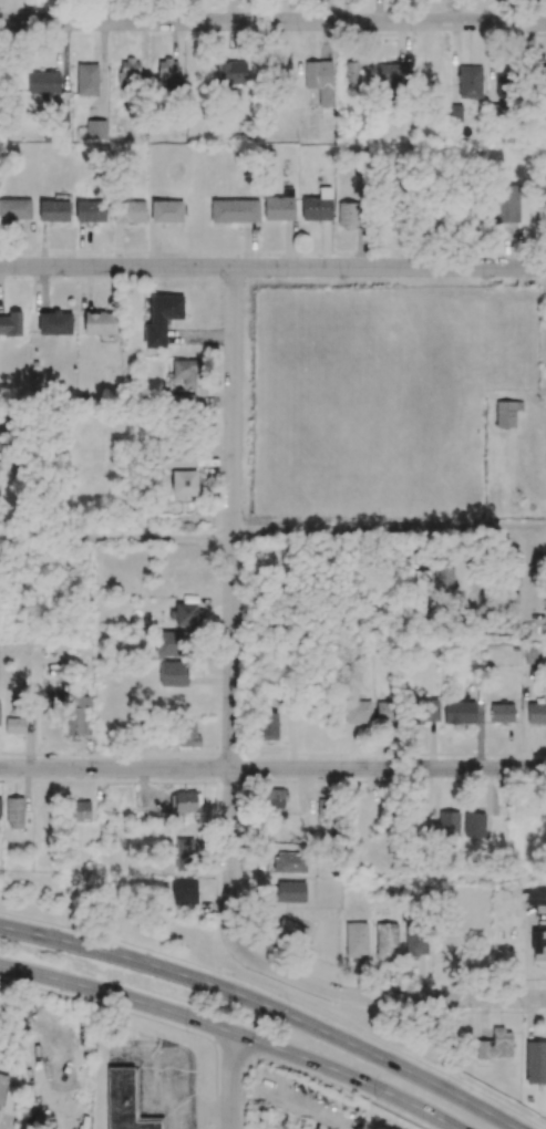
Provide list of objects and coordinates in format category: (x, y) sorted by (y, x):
road: (272, 22)
building: (128, 71)
building: (230, 72)
building: (167, 74)
building: (390, 76)
building: (86, 79)
building: (352, 80)
building: (540, 80)
building: (470, 81)
building: (43, 82)
building: (503, 82)
building: (316, 83)
building: (455, 113)
building: (95, 130)
building: (505, 203)
building: (279, 206)
building: (317, 206)
building: (14, 209)
building: (53, 210)
building: (234, 210)
building: (90, 211)
building: (128, 211)
building: (166, 211)
building: (347, 215)
road: (272, 267)
building: (161, 319)
building: (53, 322)
building: (99, 323)
building: (11, 324)
building: (184, 373)
building: (506, 413)
building: (0, 441)
building: (175, 459)
building: (185, 484)
road: (272, 538)
building: (443, 573)
building: (420, 583)
road: (230, 607)
building: (185, 614)
building: (169, 643)
building: (173, 673)
building: (427, 709)
building: (459, 712)
building: (357, 713)
building: (385, 713)
building: (502, 713)
building: (536, 713)
building: (76, 714)
building: (13, 725)
building: (266, 726)
building: (187, 735)
road: (272, 768)
building: (272, 798)
building: (183, 801)
building: (0, 808)
building: (78, 811)
building: (14, 812)
building: (447, 824)
building: (473, 825)
building: (185, 853)
building: (290, 862)
building: (184, 891)
building: (288, 891)
building: (535, 894)
building: (290, 932)
building: (356, 939)
building: (387, 939)
building: (415, 941)
building: (538, 942)
road: (280, 995)
road: (384, 997)
road: (266, 1006)
road: (117, 1011)
road: (234, 1035)
building: (495, 1045)
building: (535, 1063)
road: (233, 1081)
road: (333, 1083)
building: (1, 1086)
building: (125, 1101)

